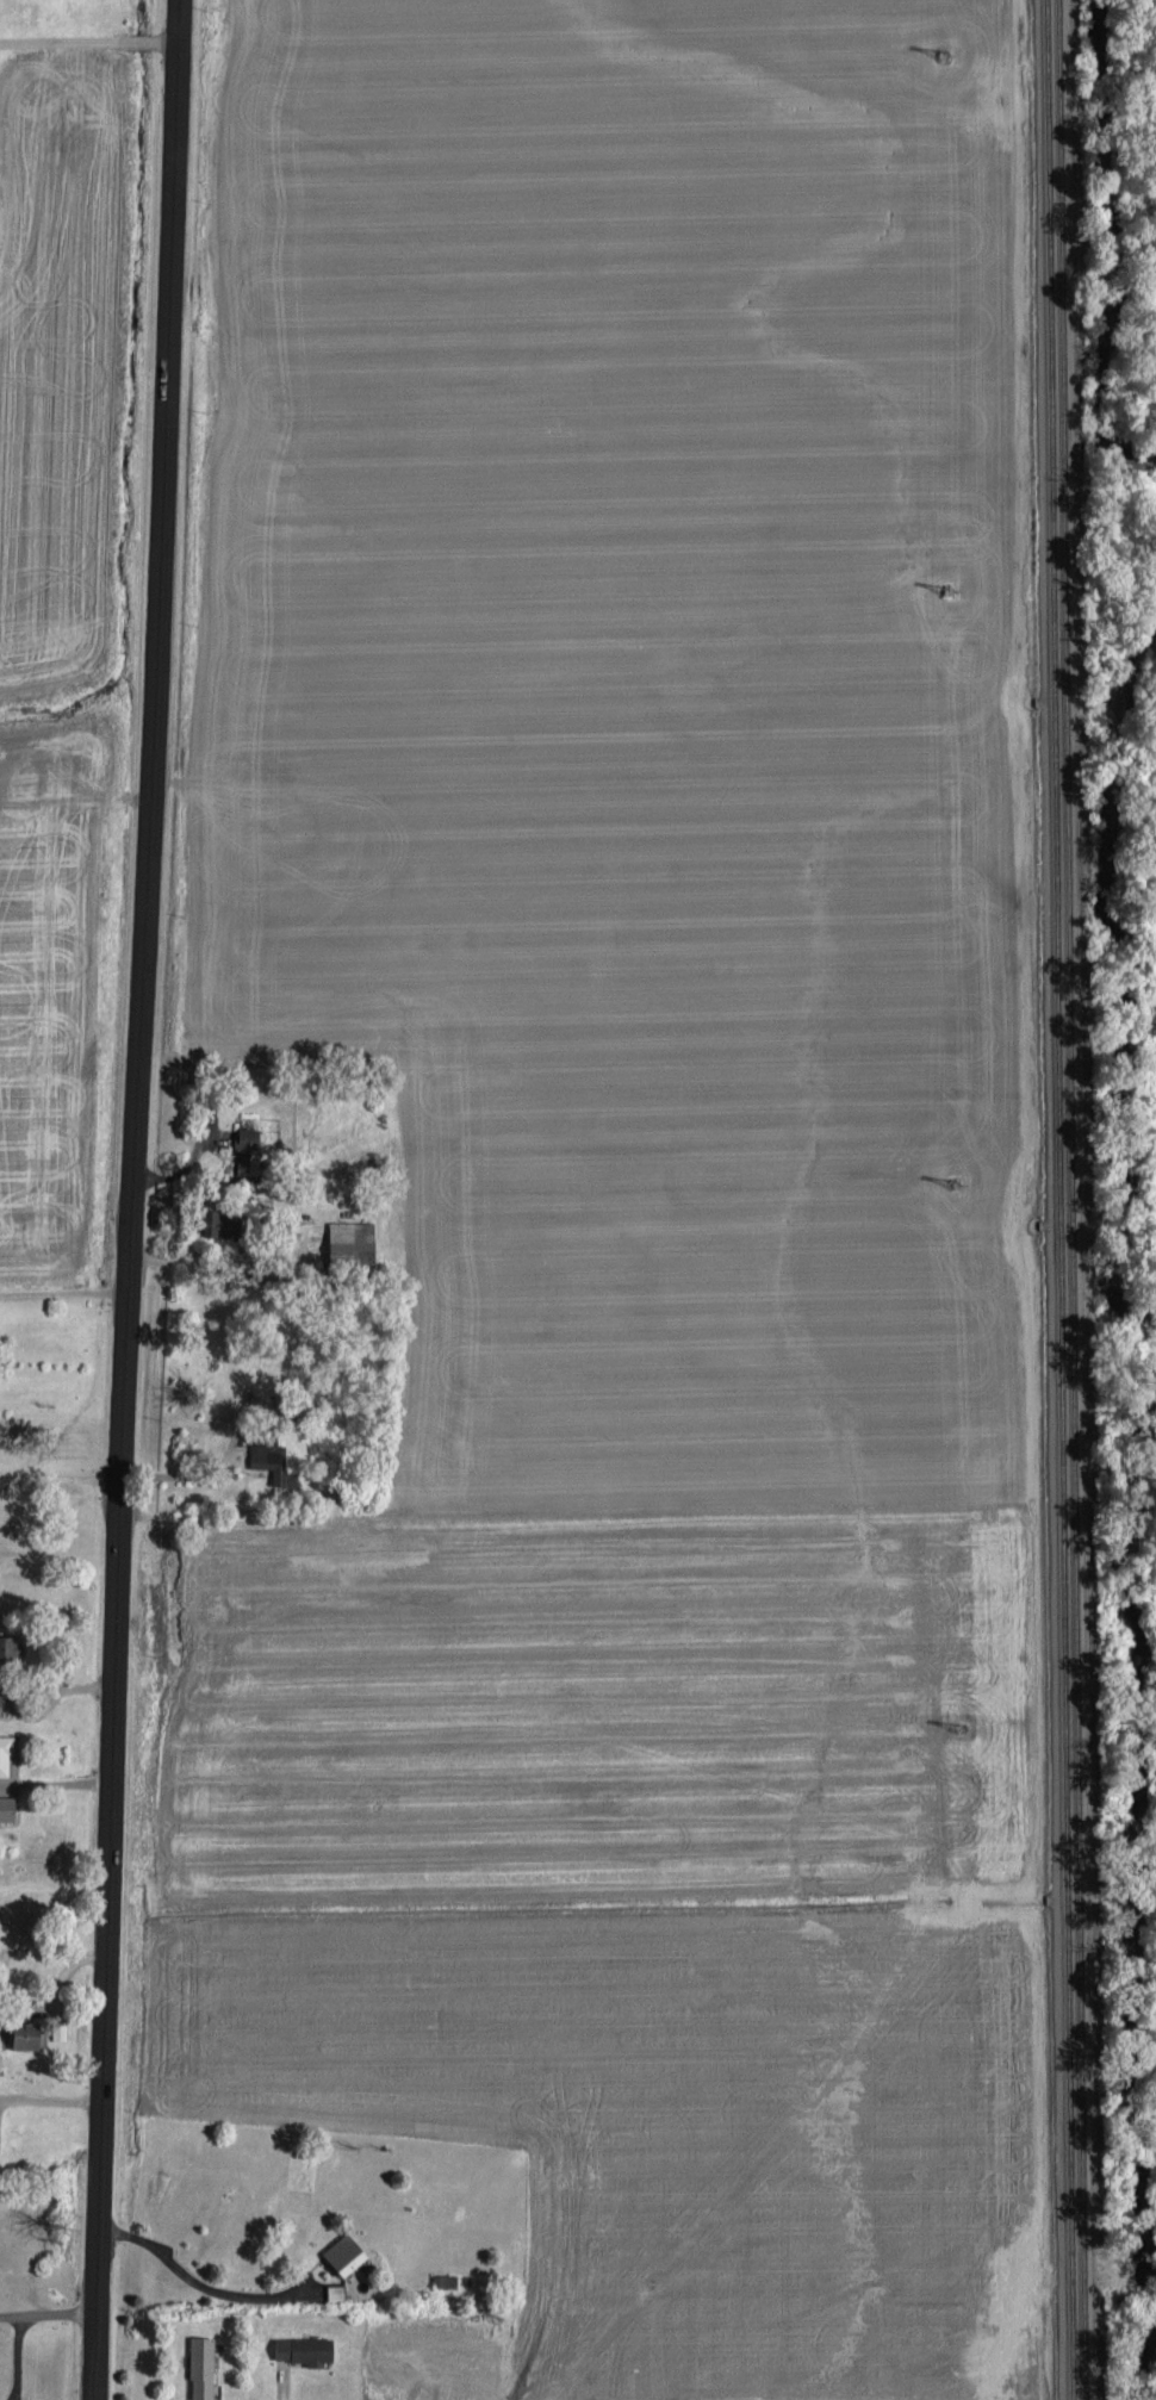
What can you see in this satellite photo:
building: (249, 1149)
road: (129, 1199)
railway: (1075, 1199)
building: (223, 1219)
road: (62, 1291)
building: (269, 1455)
building: (11, 1646)
building: (6, 1751)
building: (8, 1805)
building: (60, 2029)
building: (30, 2032)
building: (347, 2251)
road: (199, 2282)
road: (48, 2314)
building: (306, 2348)
building: (201, 2365)

